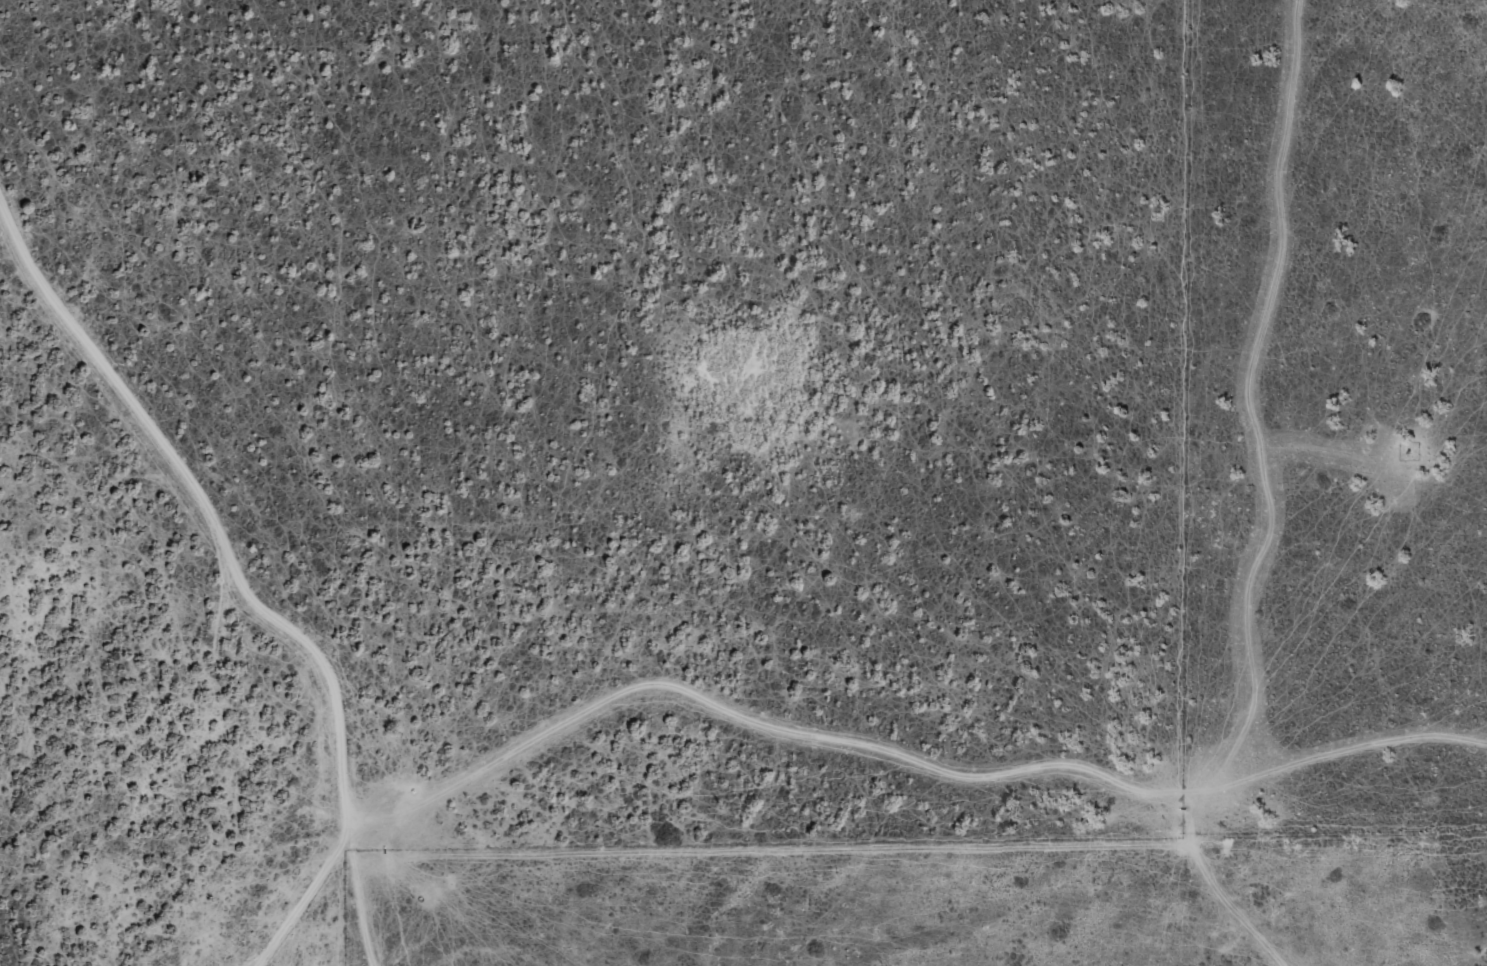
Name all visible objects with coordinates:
road: (1210, 418)
road: (231, 560)
road: (248, 883)

